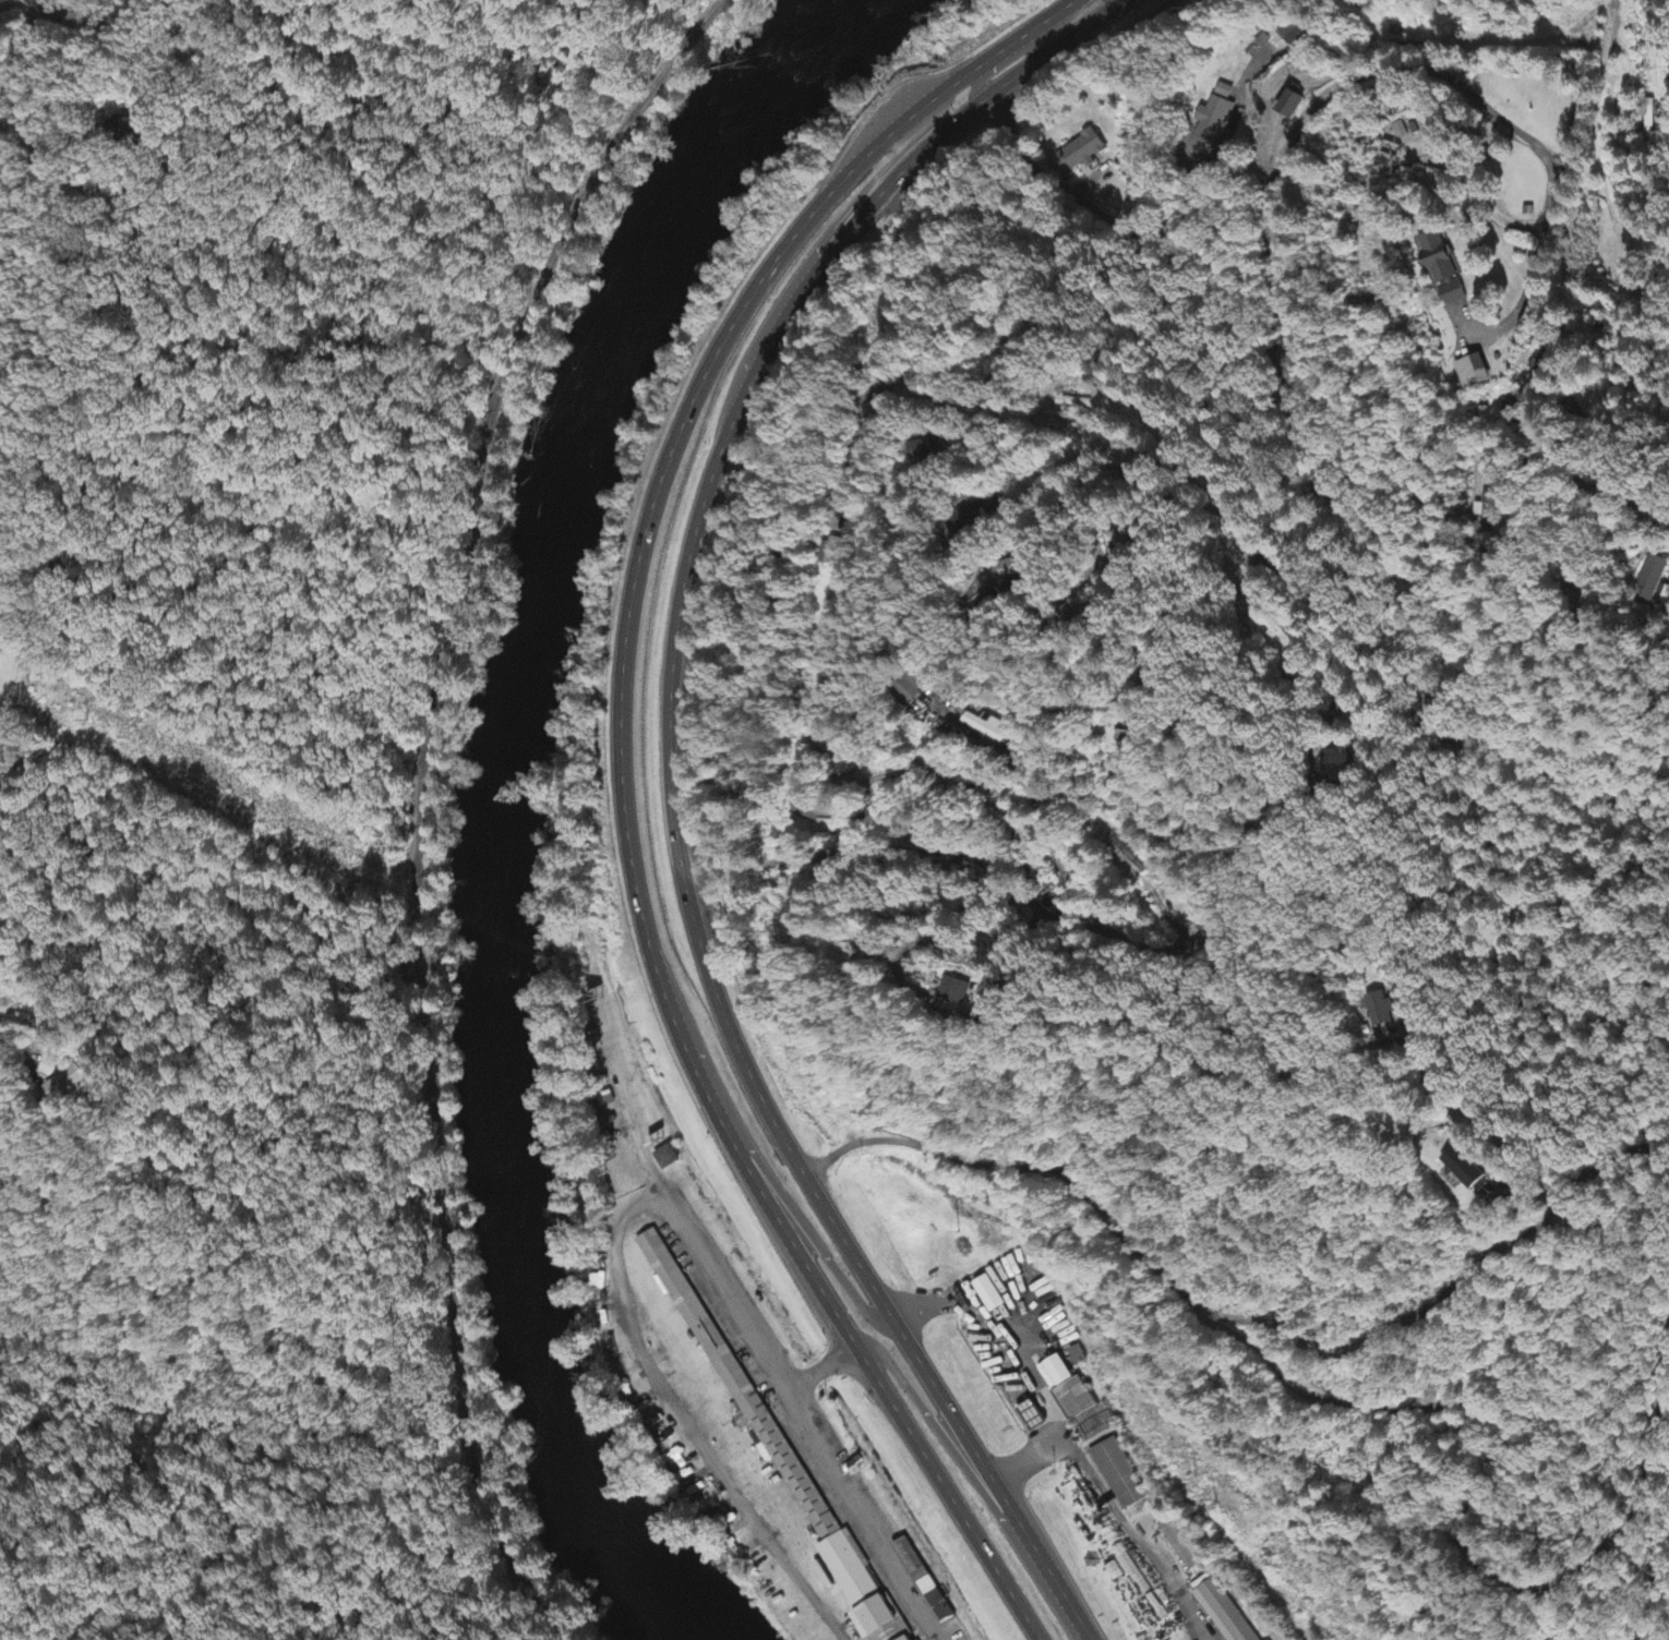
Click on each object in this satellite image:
building: (1288, 33)
road: (1020, 45)
building: (1293, 106)
building: (1215, 114)
building: (136, 130)
building: (1082, 152)
road: (896, 153)
road: (1609, 164)
road: (1260, 198)
road: (56, 265)
building: (1444, 269)
building: (1544, 363)
building: (1474, 373)
road: (1625, 412)
building: (923, 450)
road: (1616, 493)
building: (969, 517)
building: (832, 554)
building: (1654, 580)
road: (1458, 654)
road: (1350, 674)
road: (25, 675)
building: (913, 685)
building: (986, 729)
building: (1128, 738)
building: (1337, 765)
road: (671, 785)
road: (619, 786)
river: (509, 797)
railway: (416, 798)
building: (807, 810)
road: (1252, 839)
building: (1130, 858)
road: (811, 867)
road: (1059, 890)
road: (1065, 932)
building: (954, 991)
building: (1382, 1010)
building: (69, 1086)
building: (668, 1159)
building: (1466, 1168)
road: (796, 1215)
building: (990, 1295)
building: (1069, 1390)
building: (1033, 1418)
road: (937, 1434)
building: (777, 1449)
building: (1118, 1474)
building: (1179, 1547)
building: (925, 1583)
building: (914, 1638)

